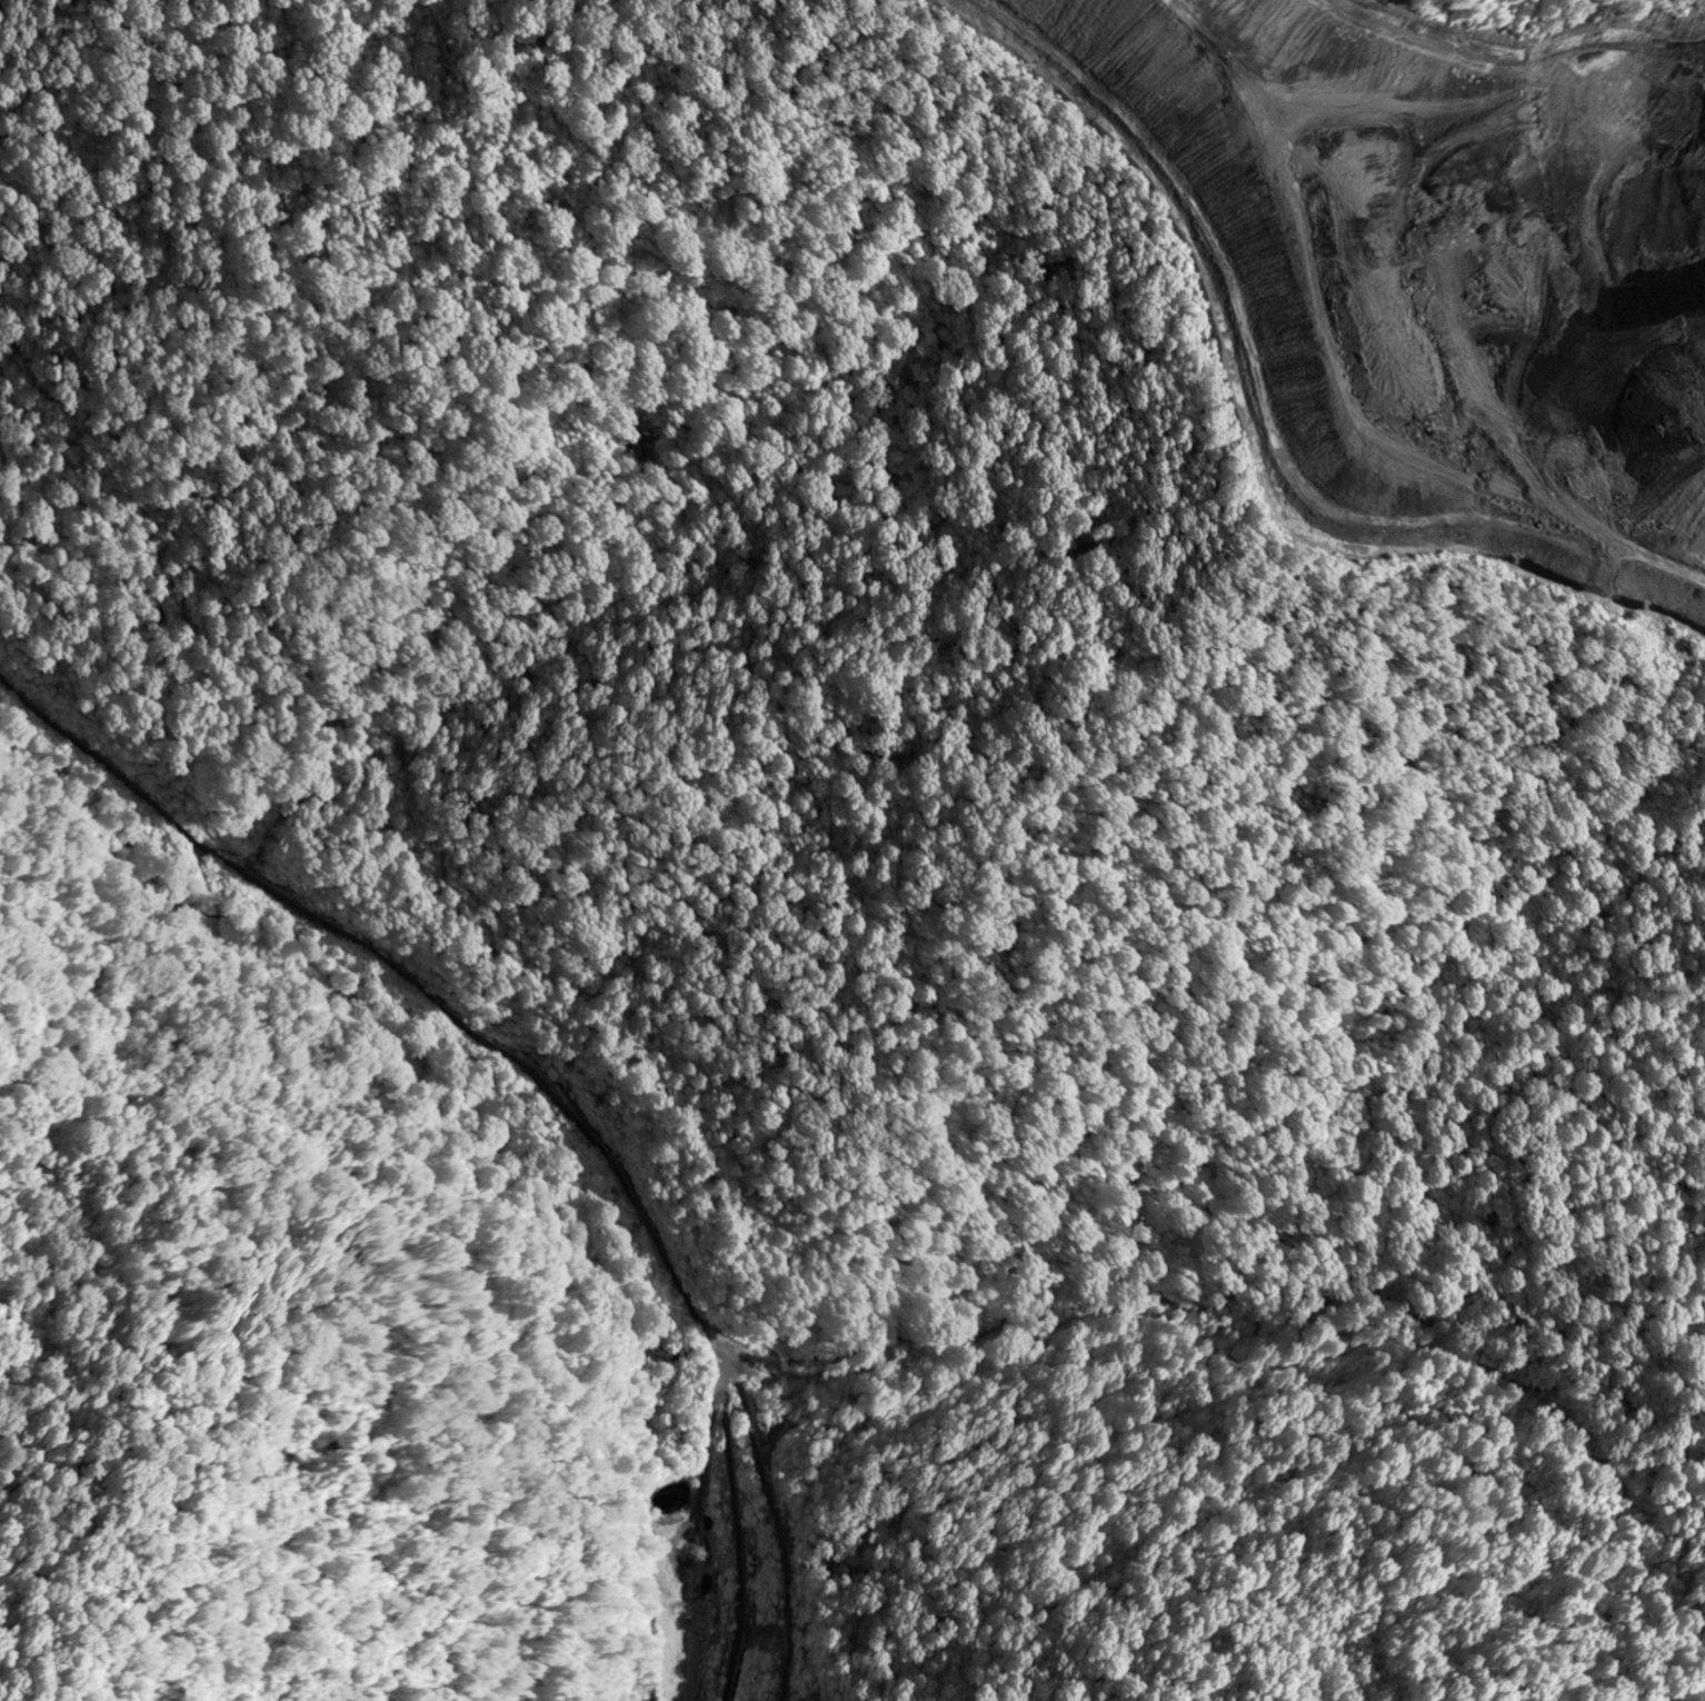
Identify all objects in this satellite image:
road: (419, 947)
road: (448, 1124)

